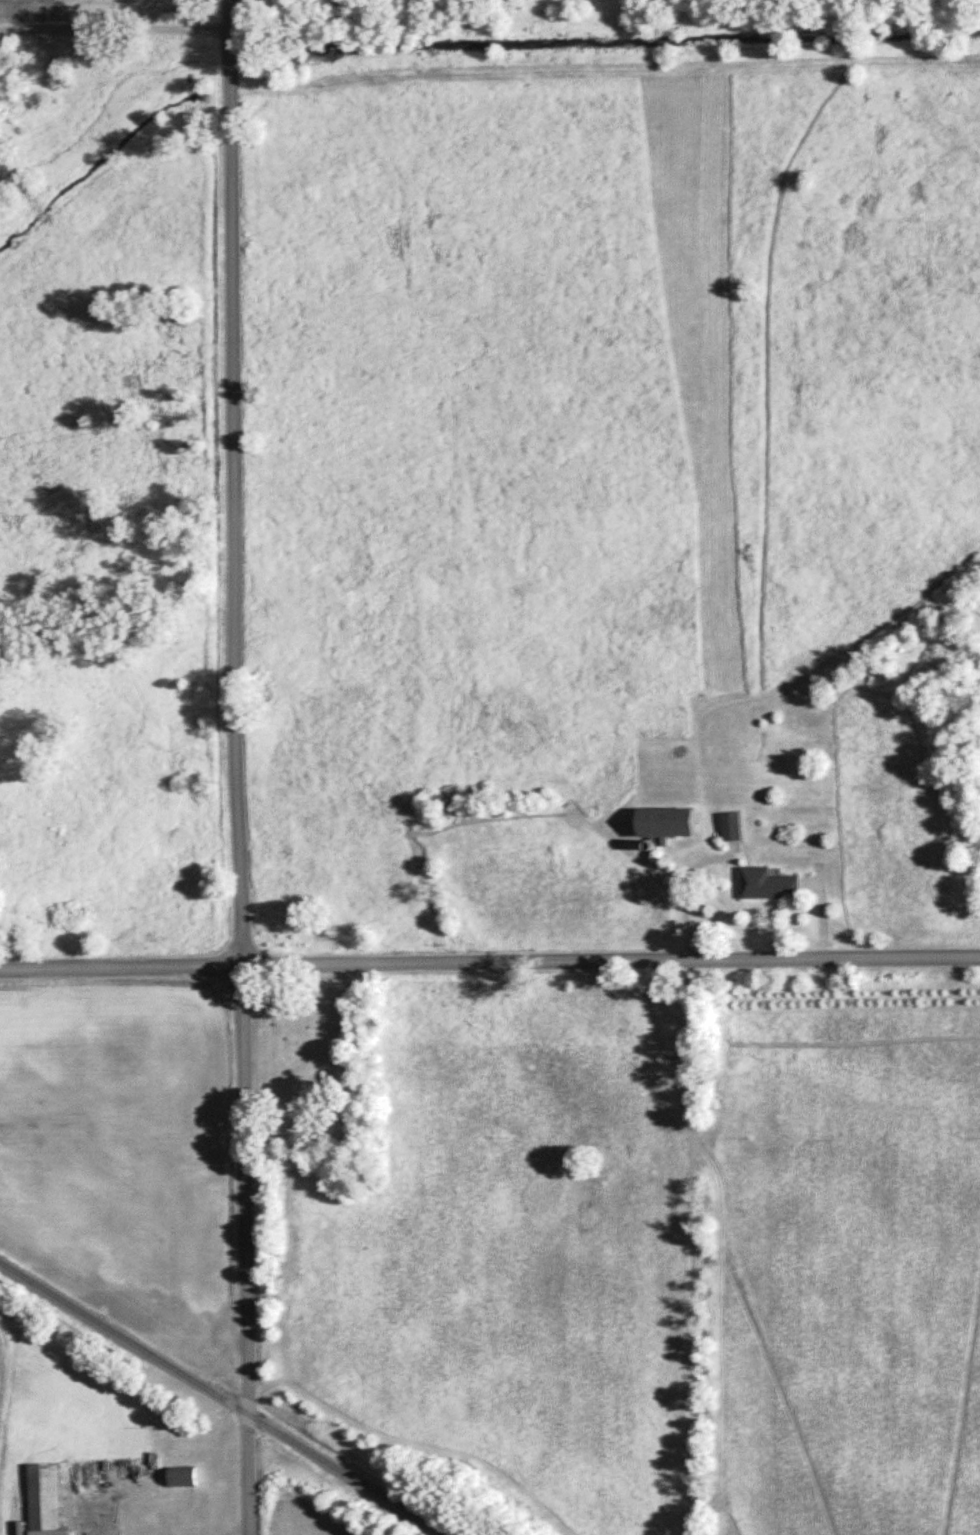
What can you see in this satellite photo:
road: (114, 33)
road: (239, 767)
building: (671, 823)
building: (733, 827)
building: (772, 885)
road: (489, 962)
park: (320, 1061)
railway: (226, 1397)
building: (185, 1478)
road: (99, 1492)
building: (45, 1499)
building: (54, 1534)

